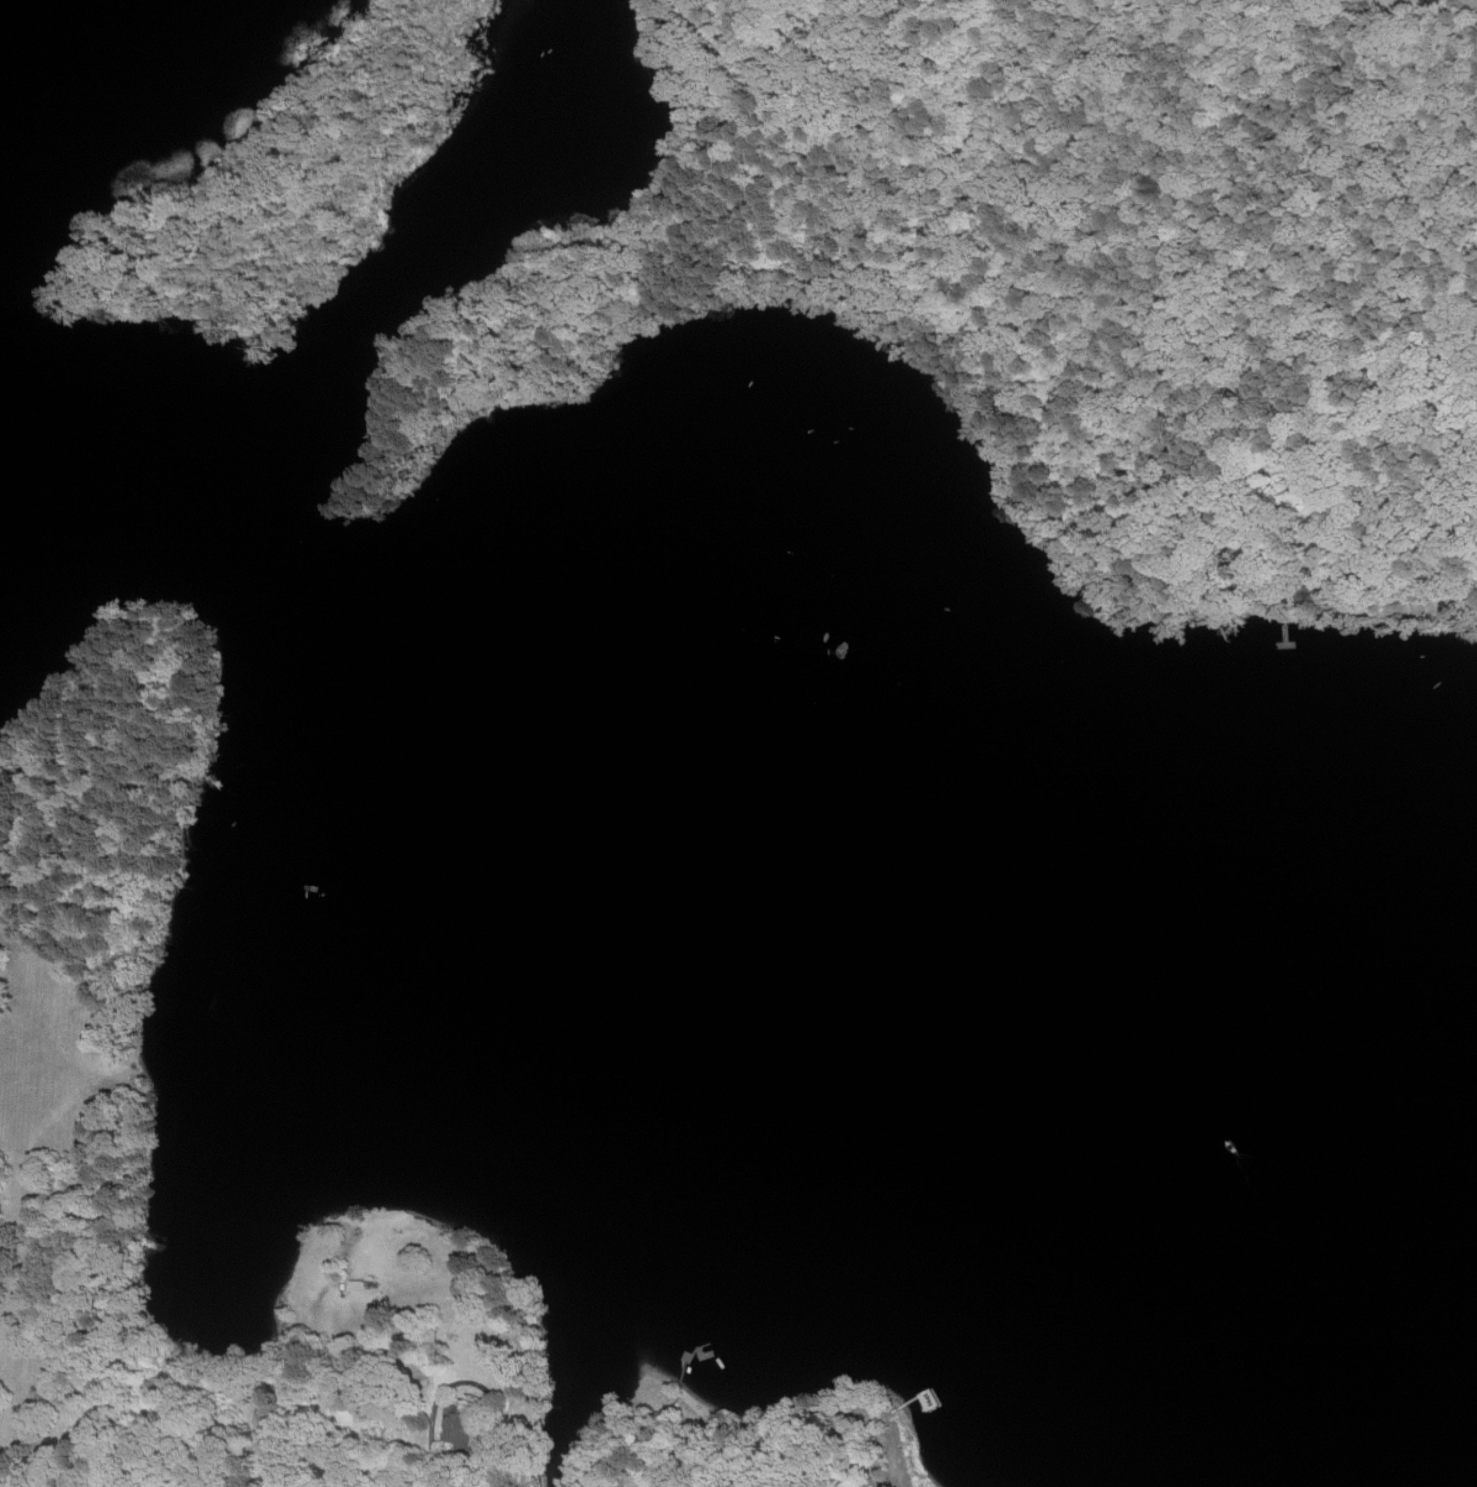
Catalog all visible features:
road: (806, 259)
road: (386, 449)
road: (1239, 540)
road: (1447, 597)
road: (1286, 599)
road: (1287, 625)
road: (1289, 642)
building: (359, 1285)
road: (433, 1421)
building: (457, 1422)
building: (667, 1486)

